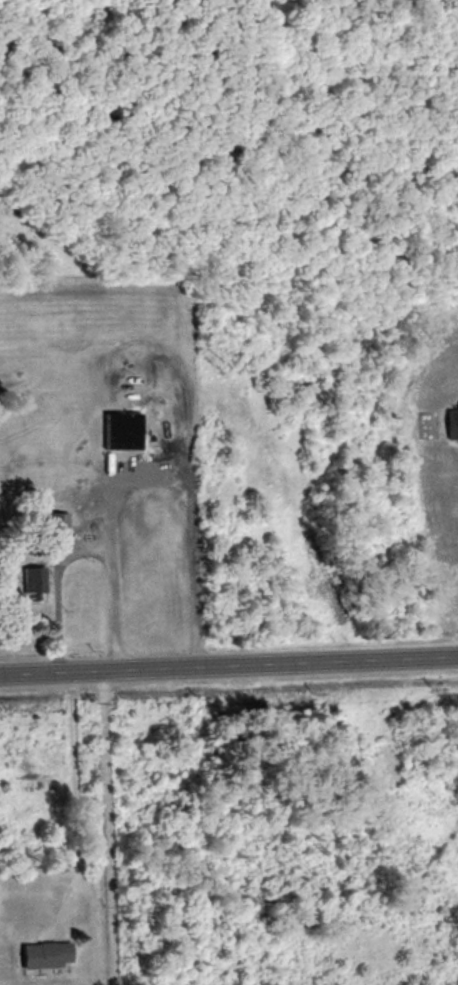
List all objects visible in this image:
building: (56, 524)
road: (80, 549)
building: (31, 581)
road: (228, 663)
road: (76, 802)
road: (109, 826)
building: (41, 955)

